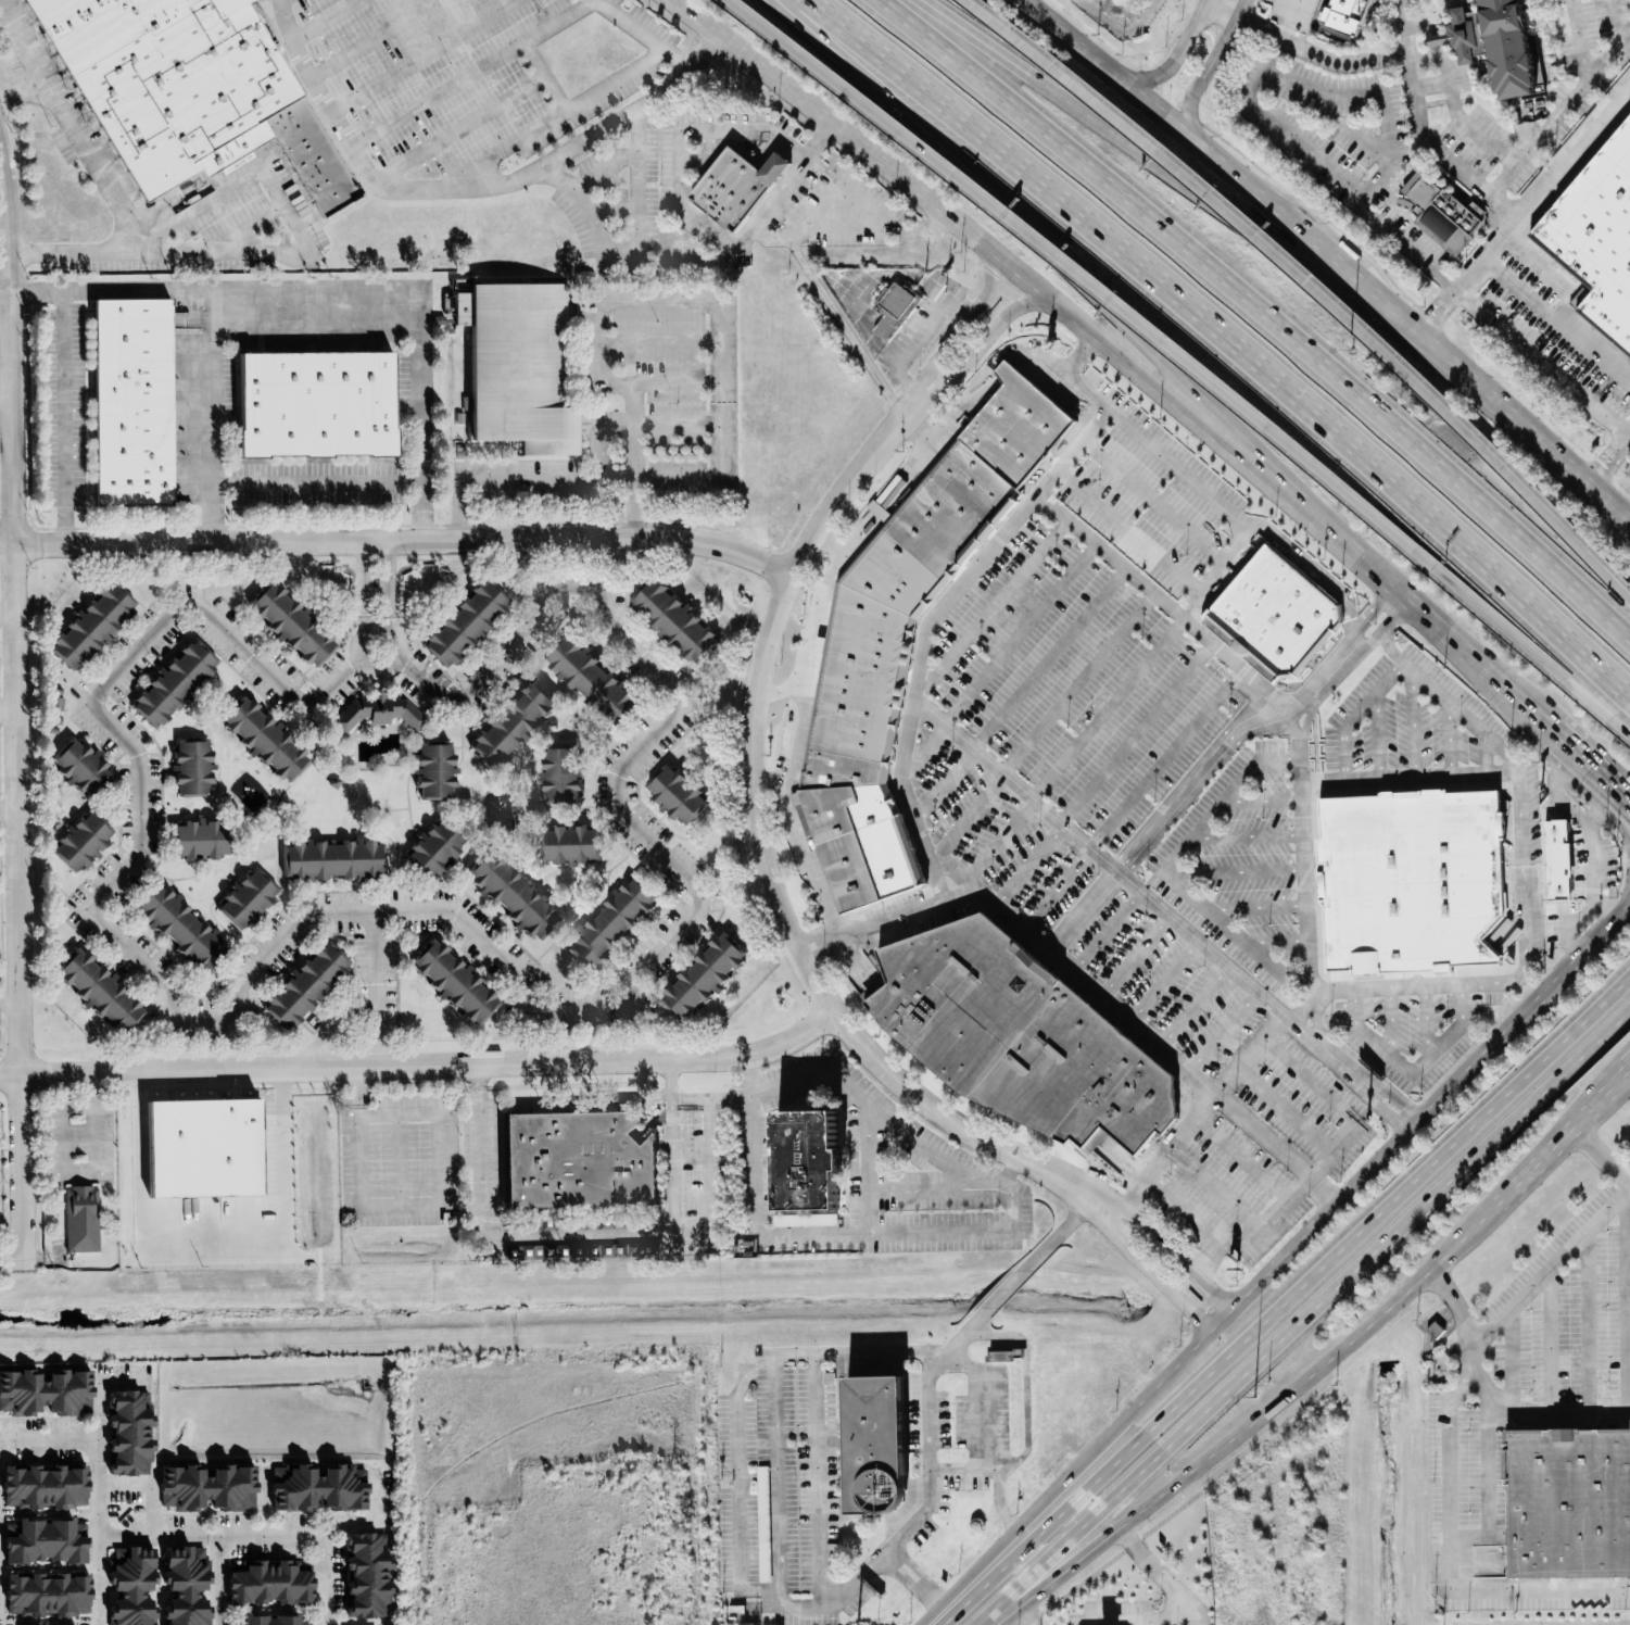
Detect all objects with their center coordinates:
road: (277, 3)
building: (1338, 15)
road: (324, 20)
road: (645, 35)
road: (375, 38)
building: (1505, 45)
road: (1303, 47)
road: (422, 55)
road: (1176, 55)
road: (1210, 66)
road: (1105, 68)
road: (473, 73)
road: (547, 75)
road: (317, 85)
building: (181, 90)
road: (24, 91)
road: (1374, 97)
road: (1454, 108)
road: (1559, 113)
road: (552, 118)
road: (831, 122)
road: (463, 126)
road: (74, 129)
road: (1419, 131)
road: (560, 155)
road: (623, 158)
road: (1315, 158)
road: (1174, 167)
building: (779, 169)
road: (1235, 175)
road: (1099, 176)
road: (242, 182)
building: (734, 189)
road: (1049, 193)
road: (690, 210)
road: (1522, 213)
building: (1441, 215)
road: (640, 217)
road: (5, 222)
building: (1596, 237)
road: (1314, 243)
road: (154, 257)
road: (1066, 265)
road: (1311, 285)
road: (868, 286)
road: (1385, 304)
building: (894, 308)
road: (211, 319)
road: (841, 323)
road: (412, 325)
road: (601, 328)
road: (657, 342)
road: (1187, 356)
road: (1543, 362)
building: (523, 367)
road: (715, 375)
road: (675, 386)
road: (1475, 389)
road: (1163, 393)
building: (136, 400)
building: (320, 405)
road: (7, 408)
road: (65, 418)
road: (675, 425)
road: (1608, 470)
road: (547, 482)
road: (317, 483)
road: (1200, 488)
road: (1579, 490)
road: (1154, 501)
road: (1477, 502)
road: (1129, 531)
road: (399, 541)
road: (1464, 543)
road: (1216, 571)
road: (388, 578)
road: (364, 579)
road: (377, 593)
road: (1163, 601)
road: (17, 602)
road: (995, 605)
road: (9, 609)
building: (1277, 610)
road: (1372, 610)
road: (1393, 616)
building: (289, 623)
building: (467, 623)
road: (389, 625)
building: (673, 625)
road: (365, 626)
road: (925, 627)
building: (96, 628)
building: (906, 633)
road: (1020, 633)
road: (818, 635)
road: (1443, 638)
road: (1353, 642)
road: (1369, 642)
road: (1048, 658)
road: (366, 668)
building: (173, 679)
building: (594, 682)
road: (1077, 682)
road: (1321, 683)
road: (1446, 703)
road: (1107, 707)
road: (1089, 708)
building: (379, 711)
road: (9, 713)
road: (1354, 715)
building: (513, 723)
road: (1412, 726)
road: (1136, 733)
road: (1377, 735)
building: (264, 738)
road: (1449, 741)
road: (927, 748)
road: (1486, 755)
road: (1164, 758)
building: (81, 764)
building: (192, 766)
road: (1583, 767)
road: (754, 770)
building: (434, 772)
building: (560, 773)
road: (1407, 777)
road: (945, 784)
building: (679, 794)
road: (1261, 799)
road: (1625, 804)
road: (1599, 807)
road: (1625, 808)
road: (10, 810)
road: (619, 812)
road: (970, 815)
road: (1625, 817)
road: (1159, 821)
road: (141, 827)
road: (1246, 836)
building: (81, 839)
building: (199, 839)
road: (999, 840)
building: (569, 844)
building: (431, 852)
road: (1596, 852)
building: (1557, 859)
building: (331, 860)
road: (1028, 865)
road: (1167, 868)
road: (952, 869)
road: (1304, 869)
road: (1238, 873)
building: (1413, 881)
road: (1057, 890)
road: (1141, 891)
building: (511, 894)
building: (244, 899)
road: (1627, 905)
road: (1256, 907)
road: (1627, 911)
building: (178, 922)
building: (612, 922)
road: (1107, 931)
road: (1276, 942)
road: (1135, 956)
road: (1580, 956)
building: (703, 973)
road: (1517, 975)
road: (376, 977)
building: (454, 980)
road: (1164, 981)
building: (305, 982)
road: (1086, 983)
building: (101, 994)
road: (11, 999)
road: (1193, 1007)
road: (1390, 1022)
road: (1426, 1022)
road: (1460, 1028)
road: (1359, 1030)
road: (1223, 1032)
building: (1020, 1036)
road: (377, 1054)
road: (420, 1066)
road: (1410, 1074)
road: (1368, 1086)
road: (678, 1087)
road: (1337, 1104)
road: (1432, 1105)
road: (872, 1110)
road: (1203, 1111)
road: (1284, 1112)
road: (1559, 1138)
road: (1601, 1155)
road: (400, 1159)
road: (1243, 1159)
building: (576, 1161)
building: (804, 1162)
road: (718, 1169)
road: (868, 1170)
road: (677, 1171)
road: (80, 1172)
road: (25, 1184)
road: (931, 1186)
road: (1217, 1189)
road: (1012, 1200)
road: (418, 1206)
road: (1183, 1214)
building: (79, 1220)
road: (505, 1231)
road: (1256, 1231)
road: (1059, 1233)
road: (772, 1235)
road: (209, 1236)
road: (1165, 1247)
road: (1281, 1257)
road: (1143, 1268)
road: (1007, 1288)
road: (1627, 1296)
road: (1287, 1300)
road: (1318, 1303)
road: (1589, 1322)
building: (1433, 1331)
road: (1484, 1338)
road: (1550, 1340)
road: (1183, 1356)
road: (774, 1357)
road: (1513, 1358)
road: (981, 1368)
building: (45, 1394)
road: (1026, 1416)
road: (1259, 1416)
building: (127, 1435)
road: (51, 1439)
building: (872, 1447)
road: (152, 1484)
road: (1488, 1485)
building: (42, 1487)
building: (316, 1488)
building: (205, 1489)
building: (1567, 1501)
road: (100, 1502)
road: (1027, 1514)
road: (1451, 1514)
road: (366, 1525)
road: (209, 1536)
building: (42, 1542)
road: (1151, 1569)
building: (365, 1577)
road: (321, 1579)
road: (912, 1579)
road: (217, 1580)
road: (856, 1580)
building: (267, 1585)
building: (129, 1586)
building: (184, 1586)
building: (46, 1596)
road: (1021, 1612)
road: (996, 1613)
road: (1191, 1615)
road: (1172, 1616)
building: (266, 1621)

